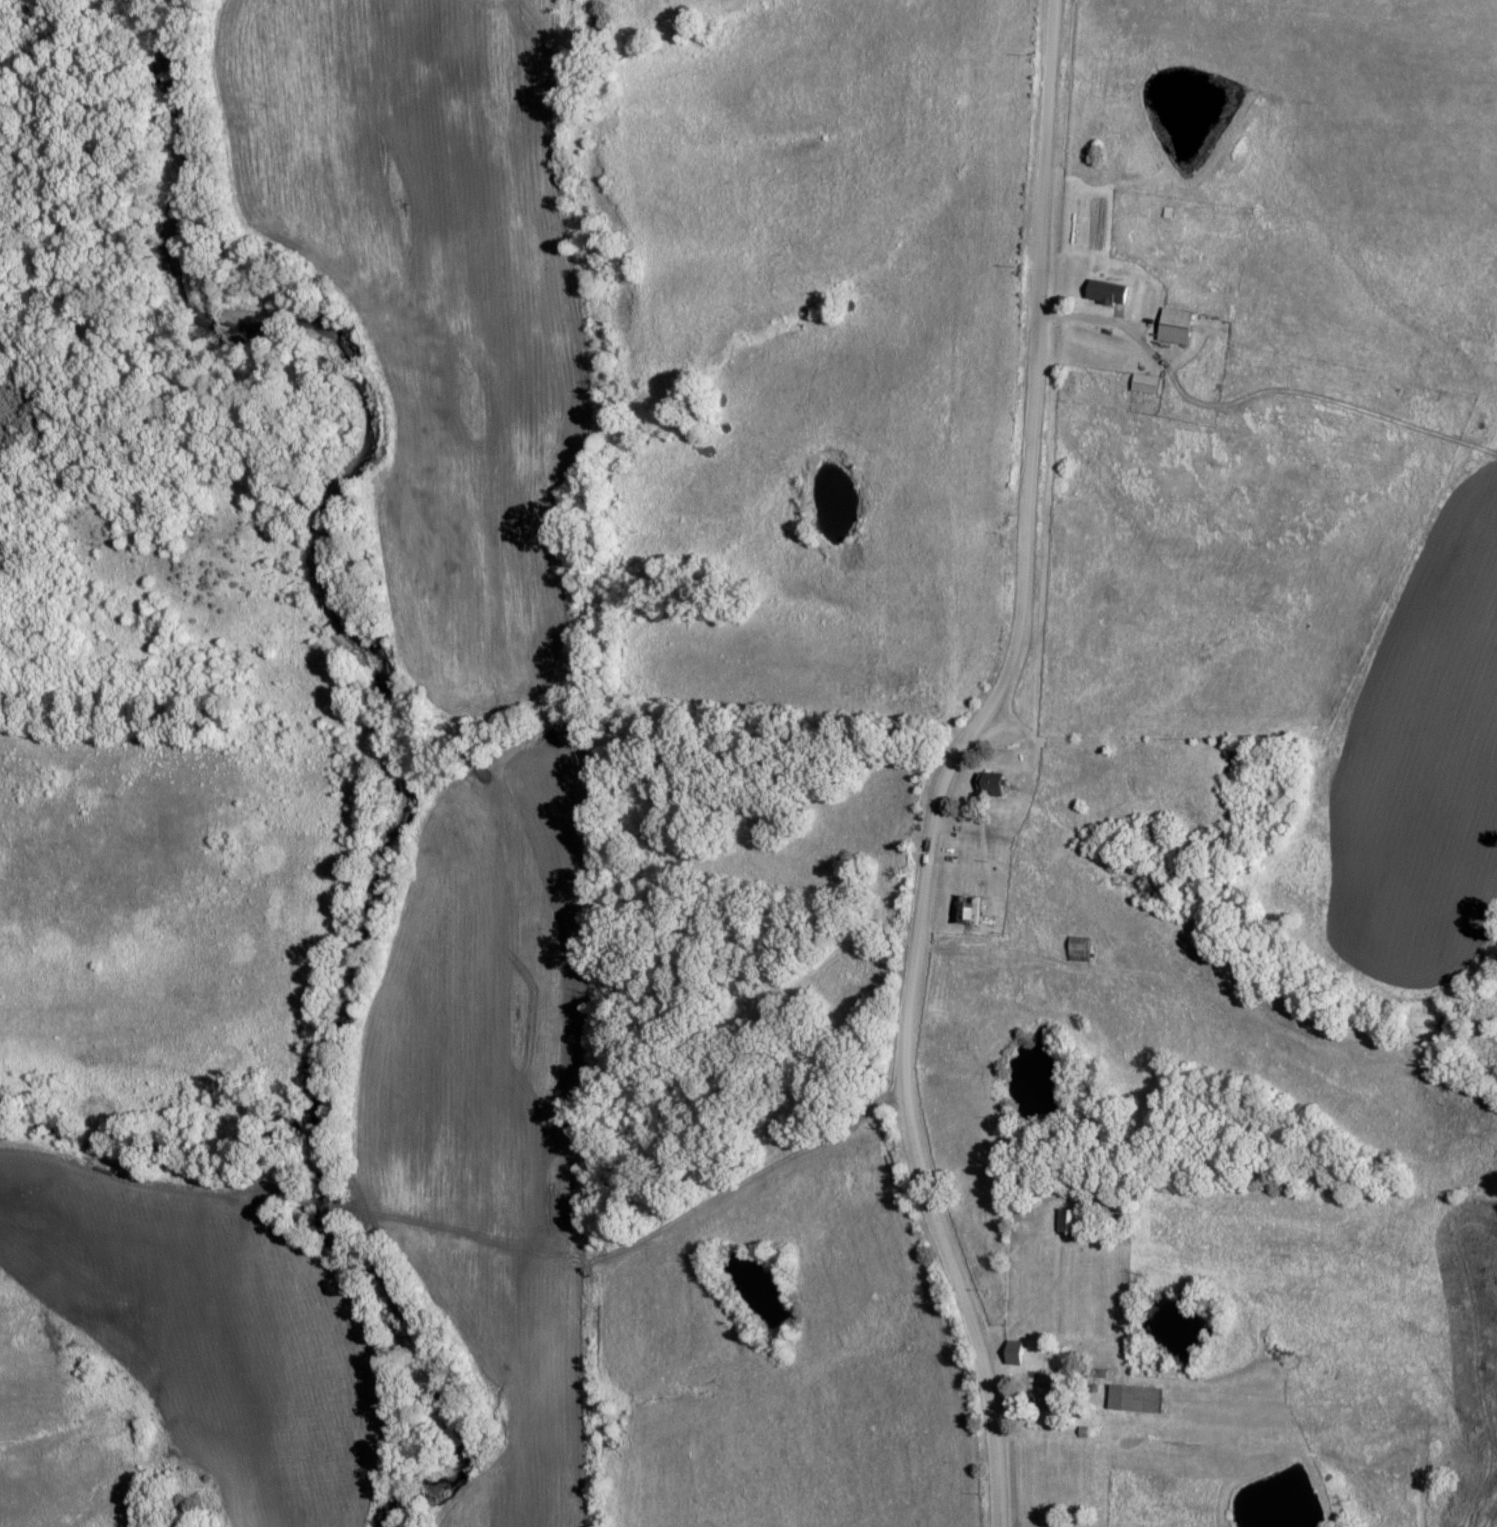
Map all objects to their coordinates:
building: (1107, 293)
building: (1177, 327)
building: (1147, 385)
road: (949, 765)
building: (992, 785)
building: (968, 910)
building: (1081, 945)
building: (1070, 1221)
building: (1014, 1353)
building: (1049, 1394)
building: (1135, 1399)

